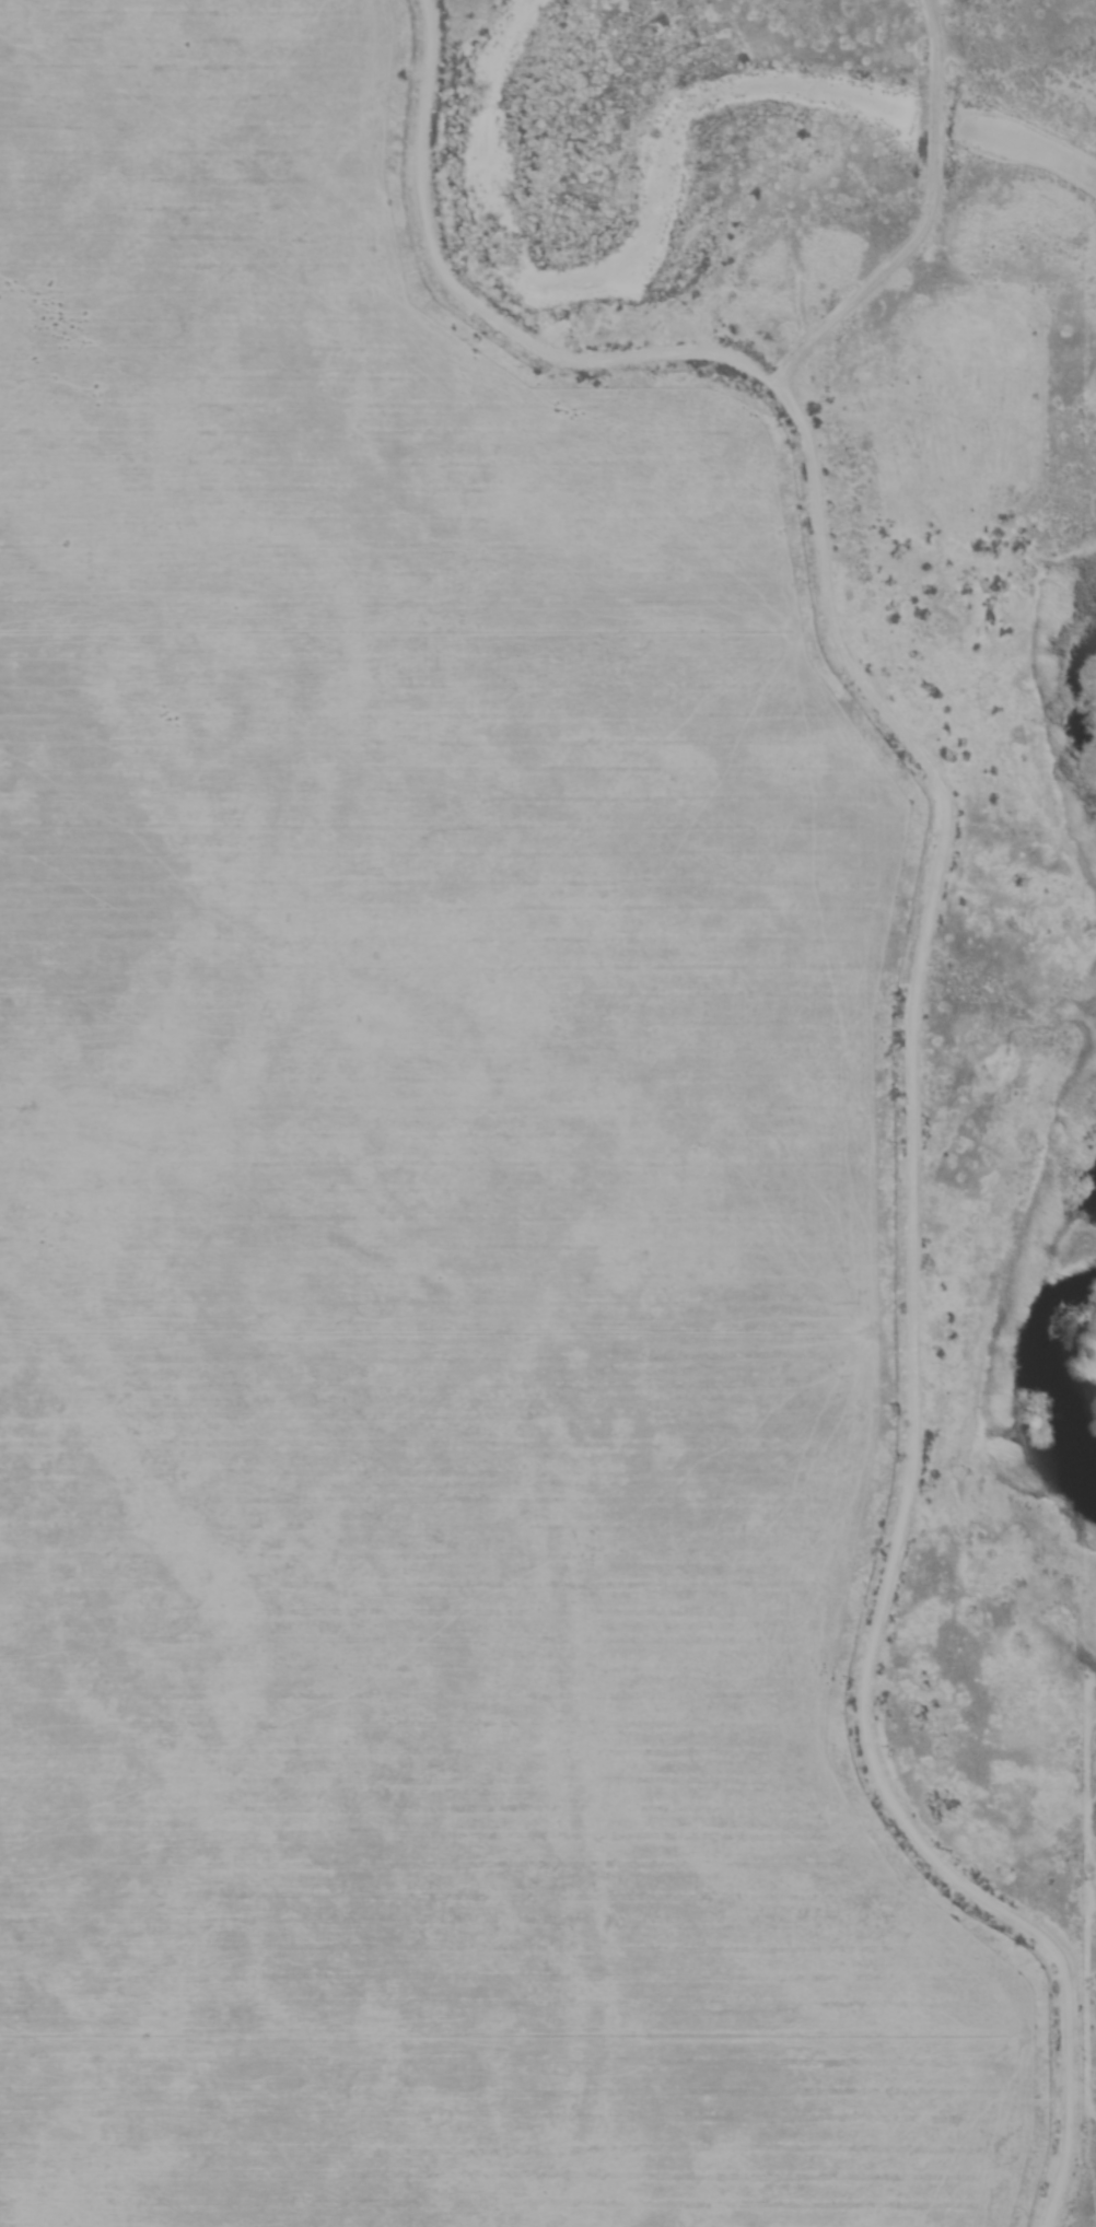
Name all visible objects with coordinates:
crop: (440, 1227)

